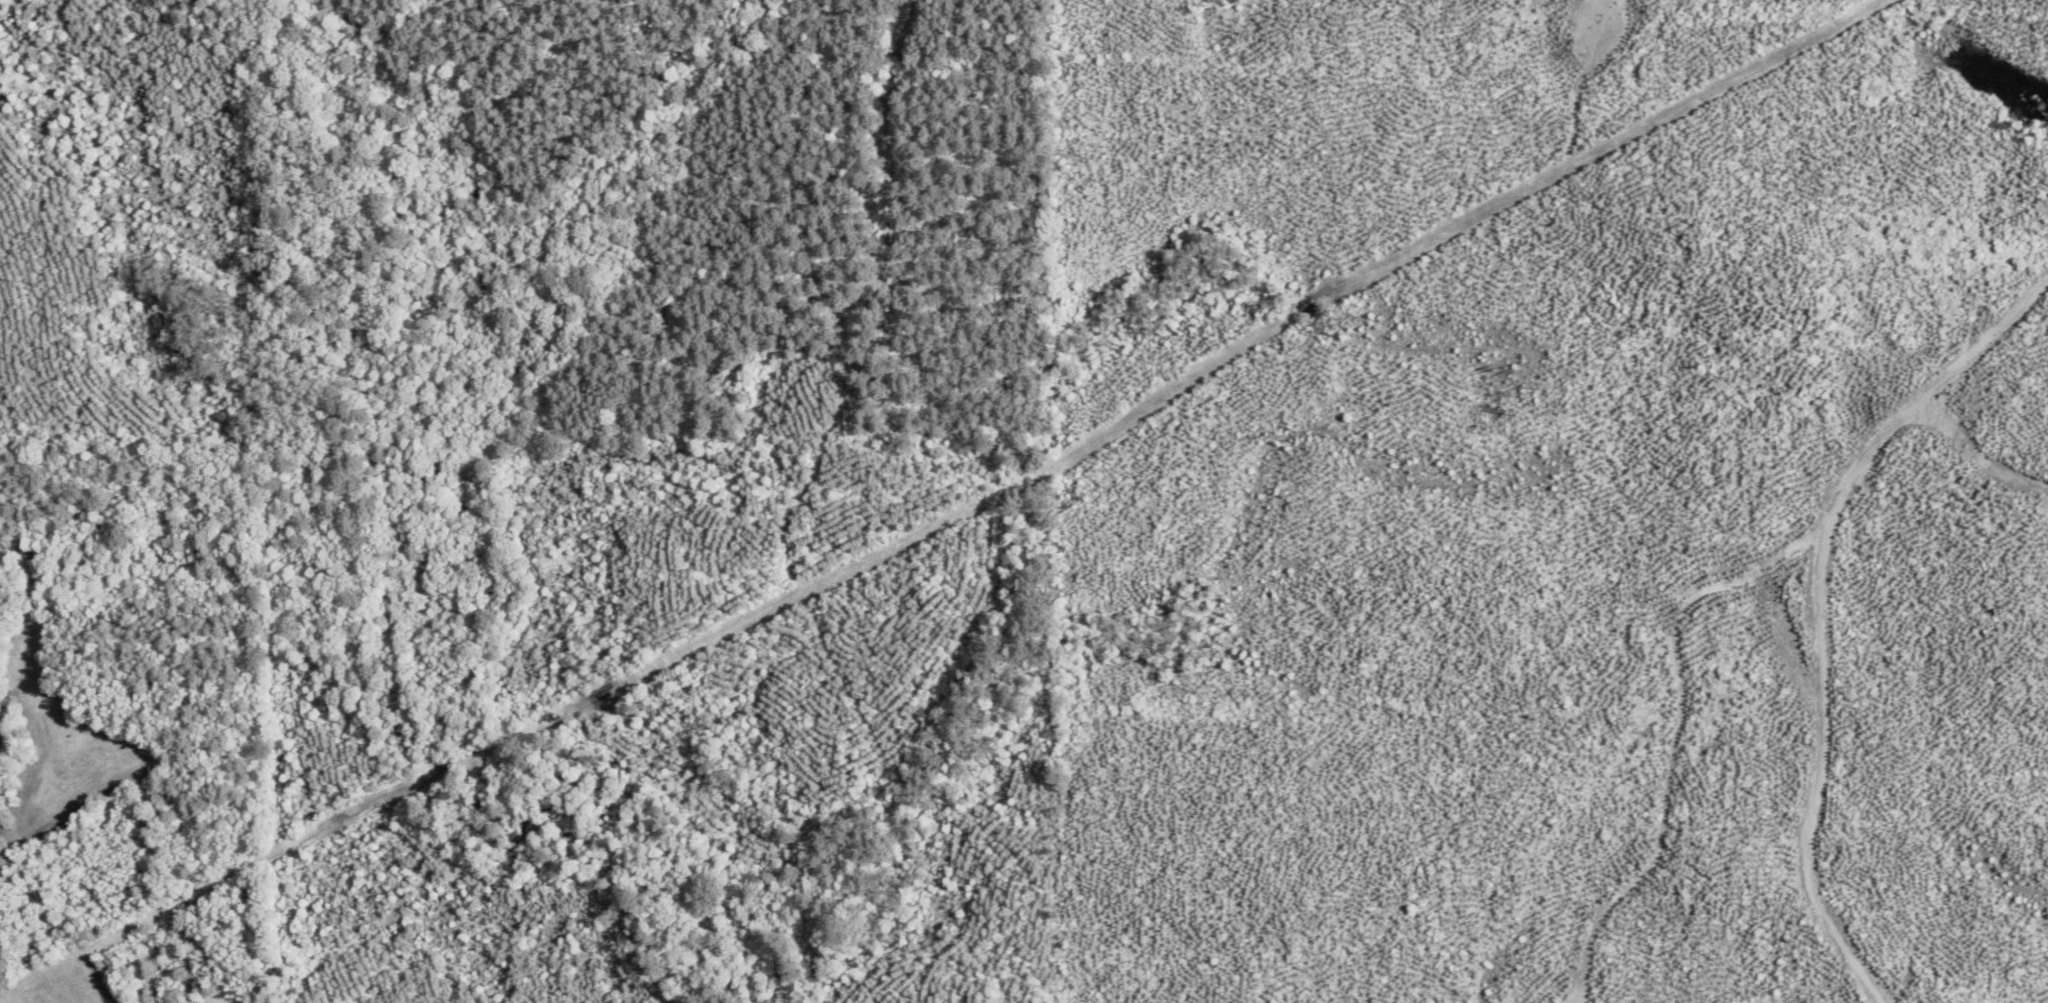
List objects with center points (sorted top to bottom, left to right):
road: (1792, 595)

